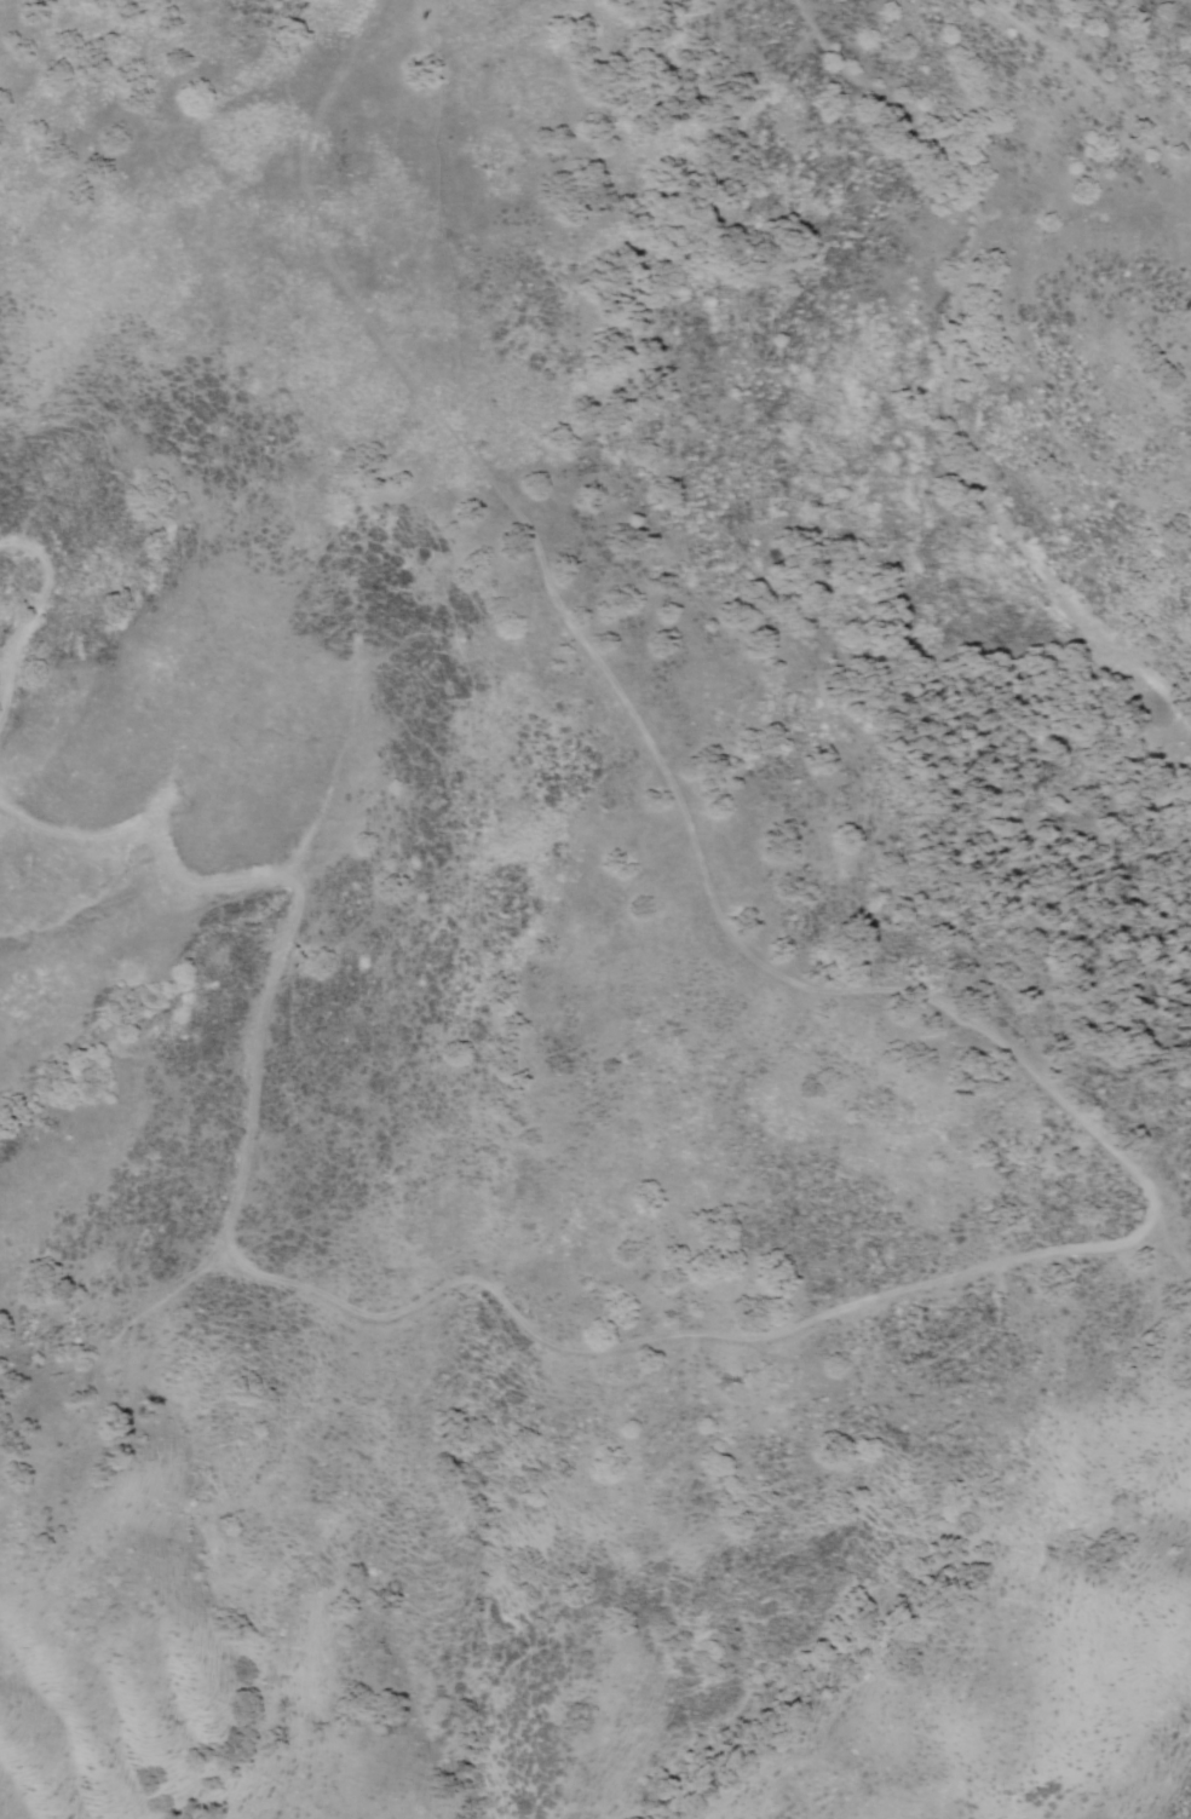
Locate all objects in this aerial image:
road: (39, 600)
road: (1111, 1248)

